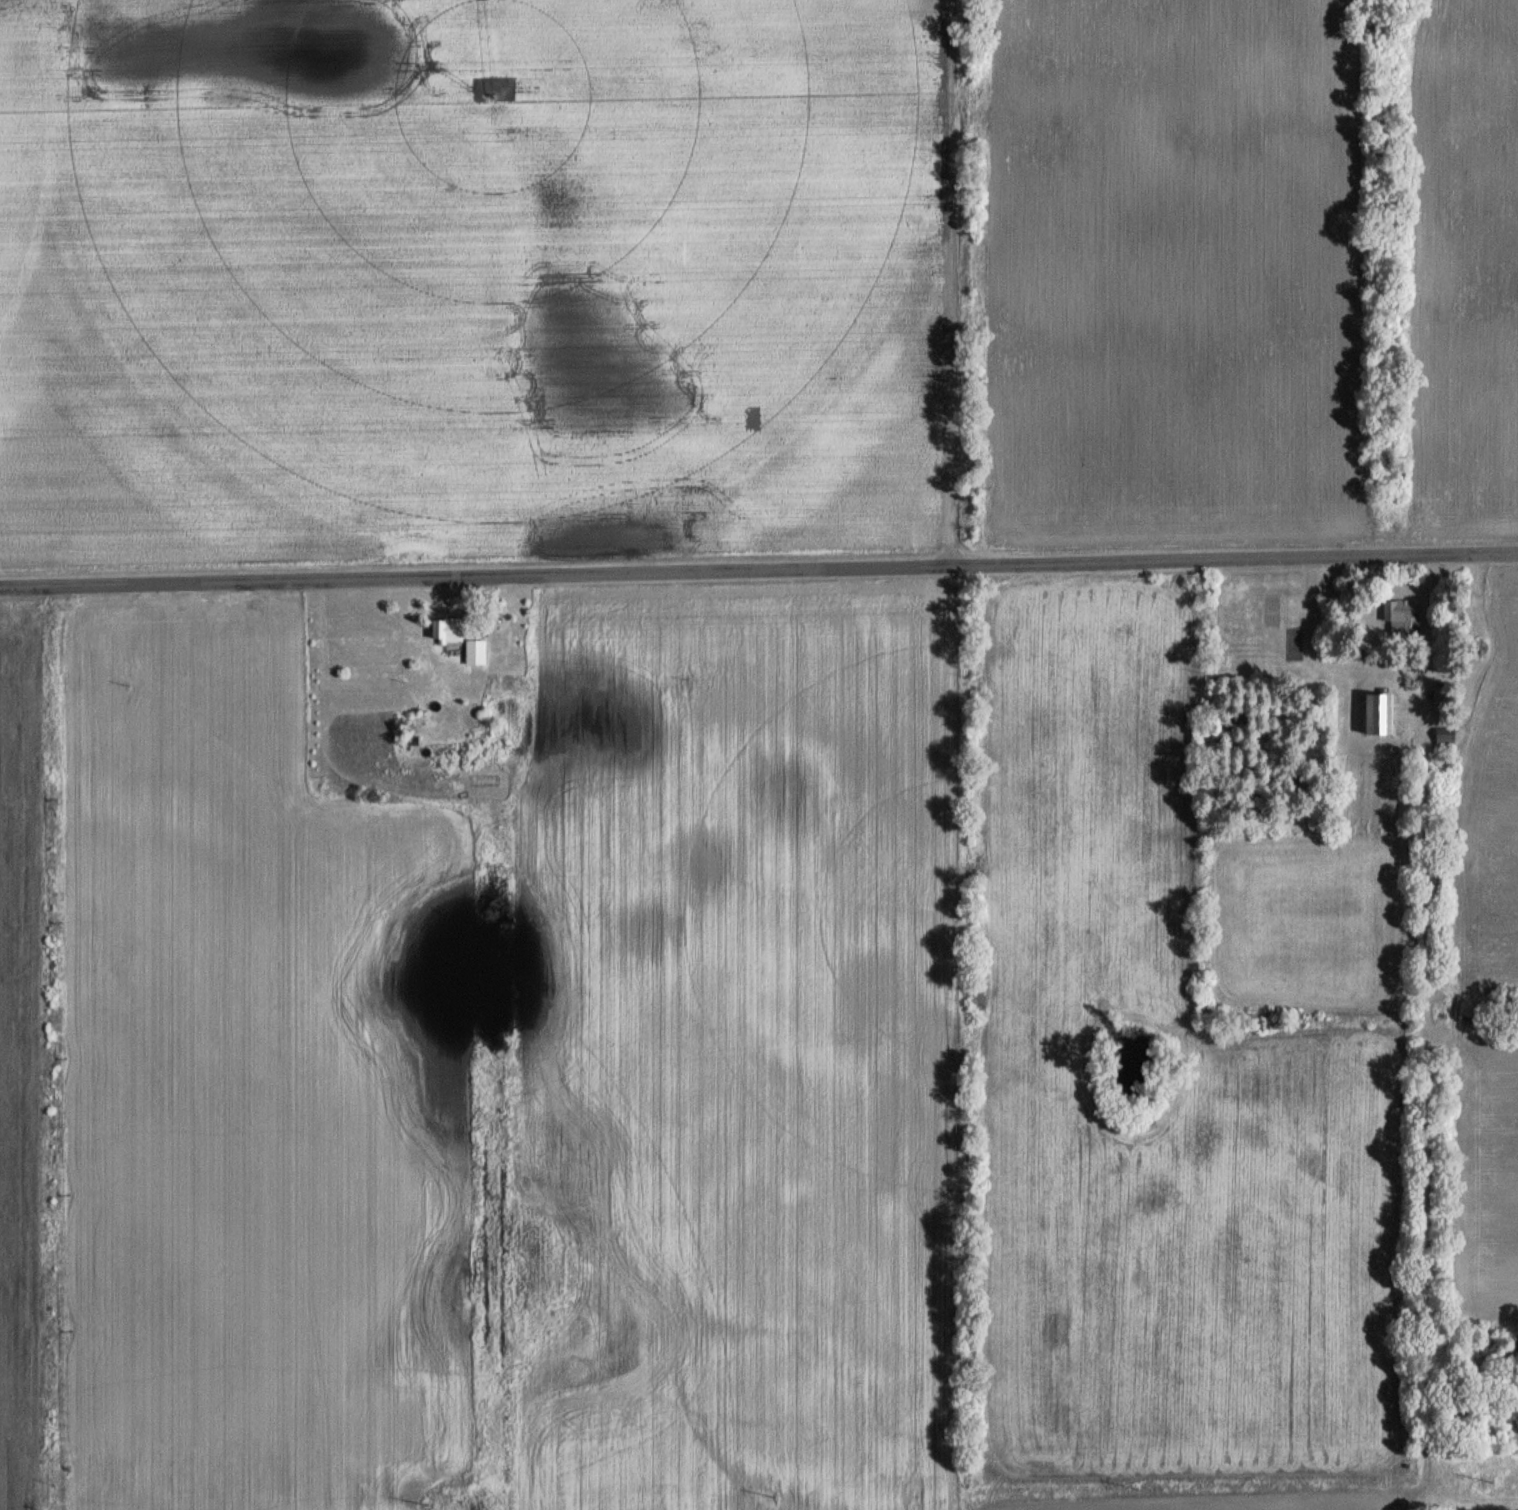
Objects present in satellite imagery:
road: (758, 569)
building: (1400, 615)
building: (446, 630)
building: (1440, 699)
building: (1378, 714)
building: (1444, 737)
power tower: (1484, 1480)
power tower: (1129, 1490)
power tower: (767, 1497)
power tower: (419, 1504)

